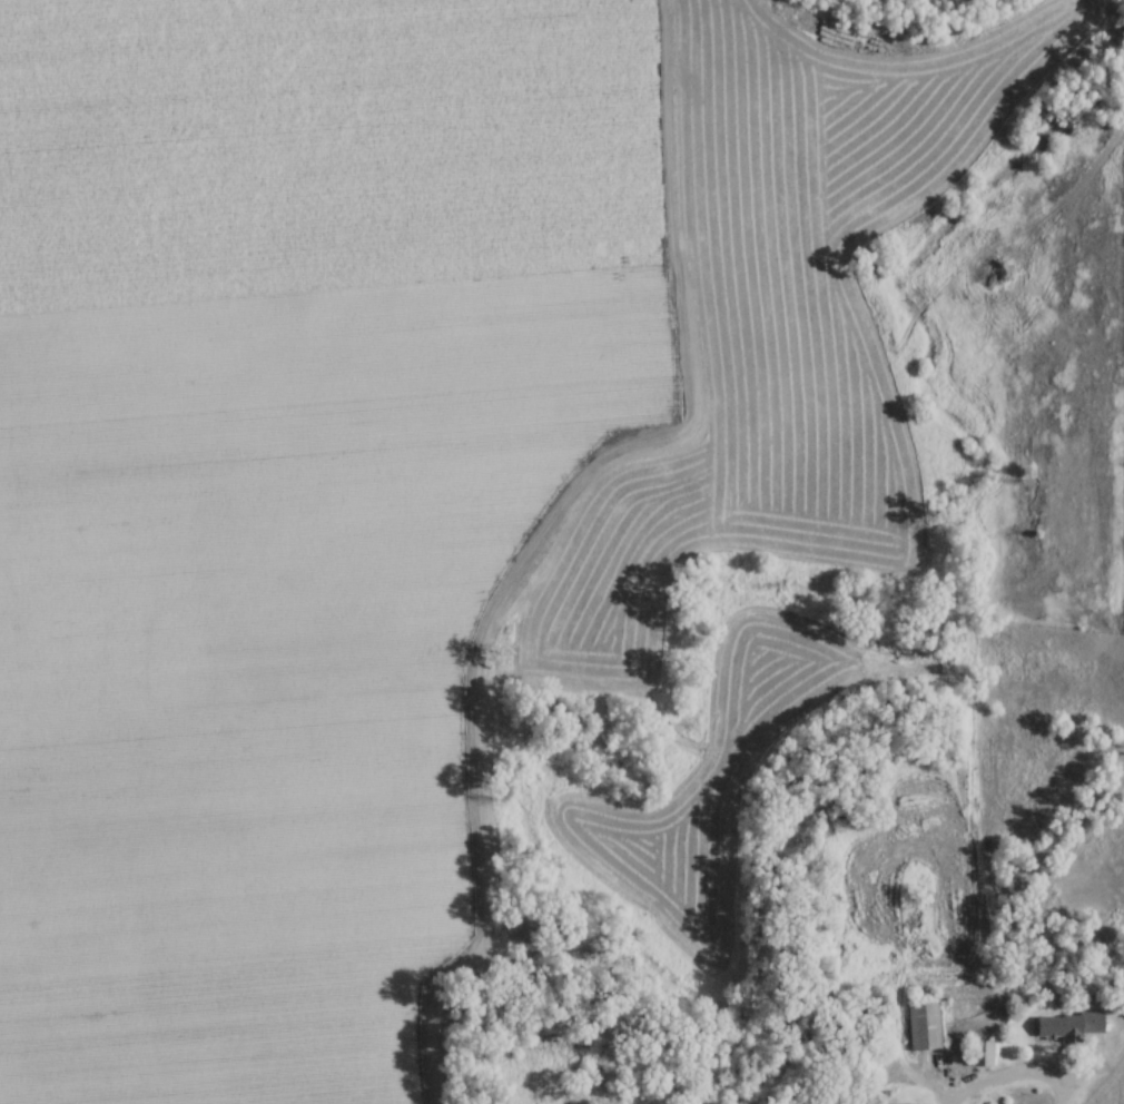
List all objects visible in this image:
crop: (1123, 151)
crop: (388, 461)
building: (919, 1024)
building: (1068, 1024)
silo: (858, 1046)
silo: (880, 1052)
building: (978, 1053)
silo: (858, 1061)
road: (1086, 1065)
road: (1013, 1075)

